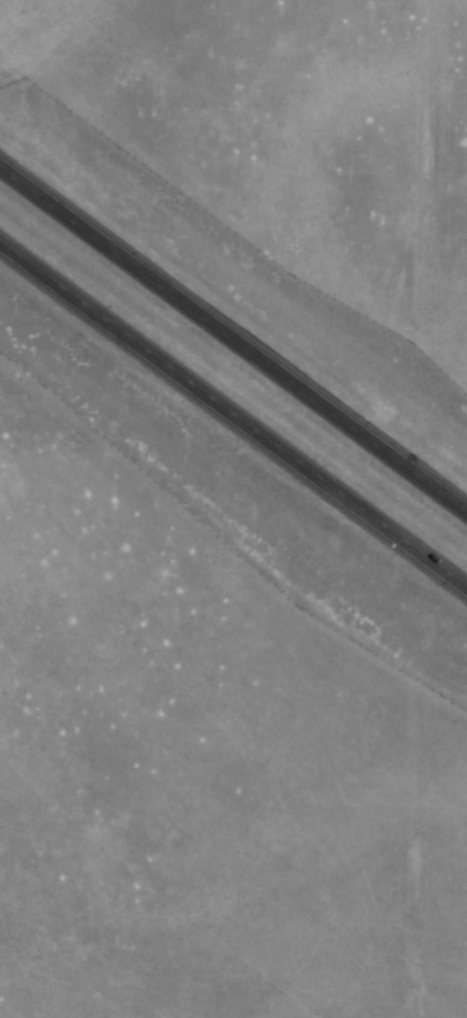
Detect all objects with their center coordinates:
road: (233, 339)
road: (233, 412)

